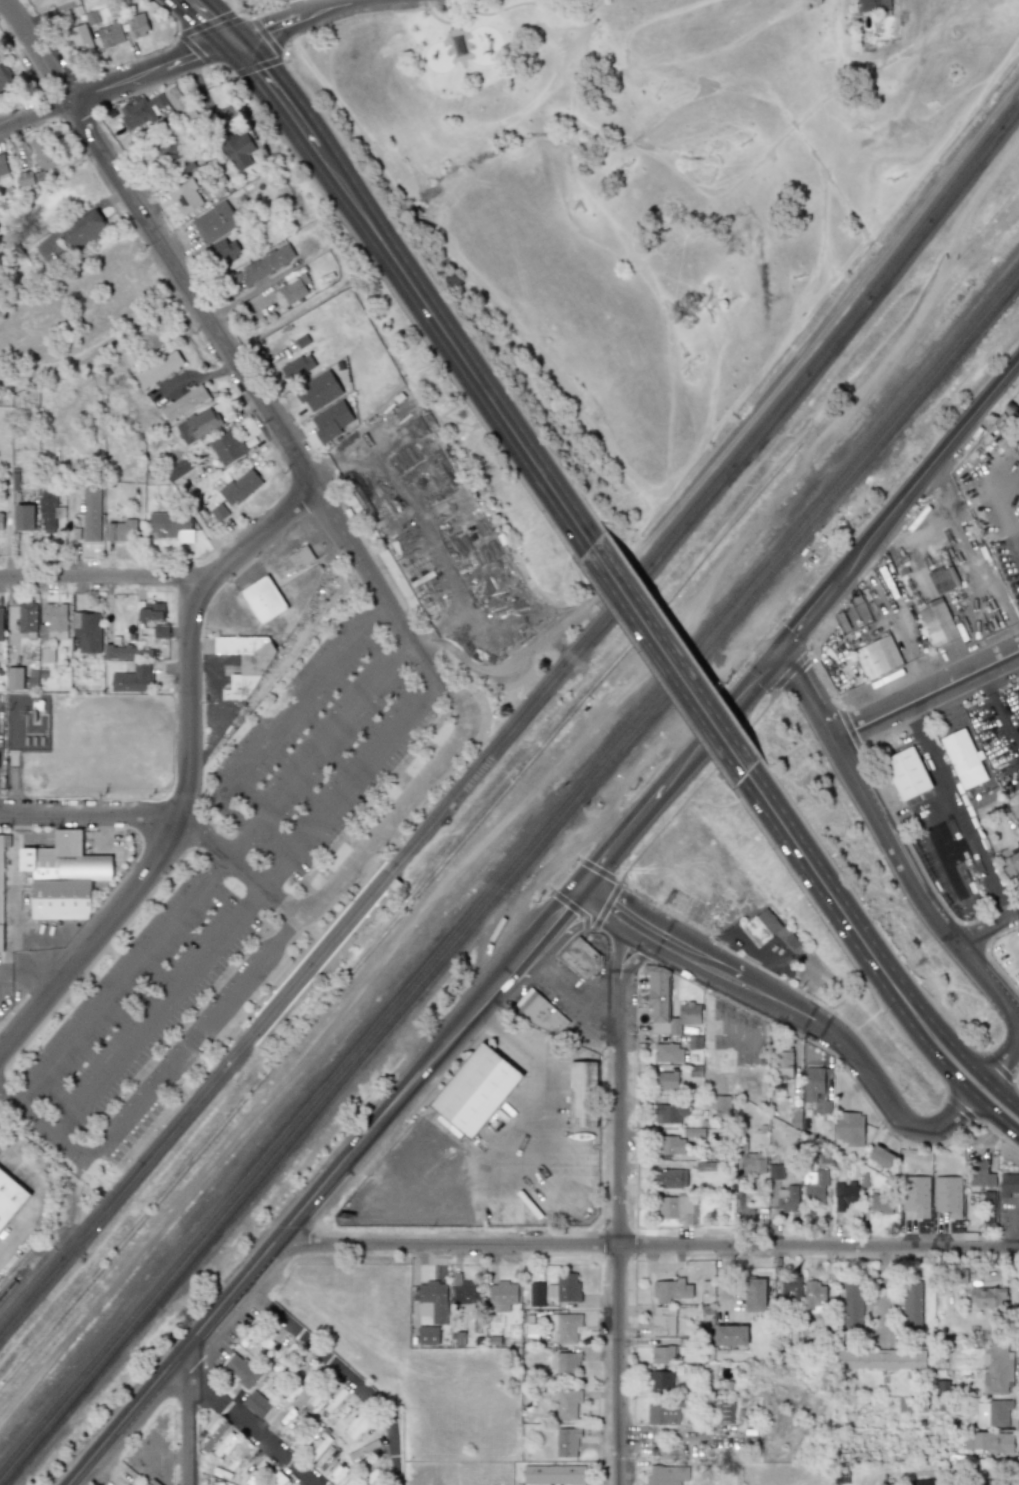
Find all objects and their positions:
building: (873, 4)
road: (294, 17)
road: (213, 19)
building: (138, 25)
building: (111, 34)
building: (81, 40)
road: (37, 50)
road: (152, 69)
building: (5, 78)
building: (156, 108)
road: (34, 112)
building: (172, 149)
building: (238, 150)
building: (44, 153)
building: (3, 165)
building: (25, 179)
building: (185, 197)
building: (214, 222)
building: (84, 230)
building: (224, 252)
building: (262, 267)
building: (294, 289)
road: (418, 289)
road: (191, 291)
building: (150, 339)
building: (297, 367)
building: (159, 369)
building: (318, 391)
building: (184, 403)
building: (331, 421)
building: (198, 425)
building: (227, 448)
building: (179, 469)
building: (240, 487)
road: (993, 499)
road: (898, 503)
building: (49, 511)
building: (219, 512)
building: (91, 514)
building: (23, 518)
building: (1, 521)
building: (171, 526)
road: (422, 526)
building: (121, 531)
road: (969, 555)
building: (297, 559)
road: (103, 578)
building: (944, 579)
building: (263, 599)
building: (151, 612)
building: (27, 619)
building: (53, 623)
building: (938, 623)
building: (1, 625)
road: (189, 630)
building: (87, 631)
building: (161, 632)
road: (903, 636)
building: (119, 652)
building: (46, 655)
road: (670, 657)
building: (877, 657)
building: (242, 661)
road: (510, 662)
building: (14, 678)
building: (134, 679)
road: (807, 693)
road: (926, 694)
road: (999, 708)
road: (462, 709)
railway: (515, 712)
road: (279, 715)
road: (717, 722)
railway: (514, 727)
building: (964, 759)
building: (907, 773)
road: (346, 781)
road: (953, 800)
road: (91, 815)
road: (949, 818)
road: (617, 842)
road: (940, 856)
building: (1011, 865)
railway: (509, 868)
road: (243, 870)
road: (814, 870)
parking lot: (243, 871)
road: (209, 875)
building: (63, 877)
building: (2, 881)
railway: (509, 881)
road: (915, 888)
road: (601, 904)
road: (628, 923)
road: (571, 926)
building: (762, 926)
road: (987, 927)
road: (18, 931)
road: (64, 932)
road: (642, 932)
road: (92, 939)
road: (46, 943)
railway: (314, 943)
road: (617, 953)
building: (582, 958)
railway: (322, 960)
road: (694, 960)
road: (633, 961)
road: (25, 967)
road: (516, 980)
road: (897, 984)
road: (889, 988)
road: (574, 999)
building: (667, 1004)
road: (784, 1005)
road: (154, 1011)
building: (543, 1014)
road: (191, 1044)
road: (316, 1047)
building: (668, 1052)
road: (961, 1056)
building: (719, 1061)
road: (1003, 1063)
building: (783, 1064)
road: (951, 1074)
building: (667, 1080)
building: (814, 1082)
building: (474, 1092)
building: (583, 1094)
building: (723, 1106)
road: (895, 1109)
building: (671, 1113)
building: (850, 1128)
road: (42, 1131)
building: (673, 1145)
road: (554, 1146)
building: (881, 1155)
building: (755, 1163)
building: (774, 1171)
building: (980, 1174)
building: (671, 1179)
road: (321, 1184)
building: (1009, 1184)
building: (816, 1187)
building: (846, 1196)
building: (11, 1198)
building: (788, 1198)
road: (35, 1202)
building: (882, 1204)
building: (677, 1208)
building: (989, 1211)
road: (615, 1235)
road: (649, 1242)
railway: (8, 1285)
building: (791, 1286)
building: (564, 1288)
building: (672, 1290)
building: (465, 1291)
building: (503, 1292)
building: (536, 1294)
building: (756, 1294)
building: (987, 1297)
building: (434, 1298)
building: (815, 1298)
building: (853, 1304)
building: (912, 1304)
building: (664, 1320)
building: (566, 1326)
building: (428, 1335)
building: (731, 1336)
building: (661, 1354)
building: (885, 1359)
building: (568, 1366)
building: (997, 1368)
building: (241, 1370)
building: (662, 1379)
road: (357, 1381)
building: (257, 1403)
building: (567, 1404)
building: (904, 1405)
building: (663, 1412)
building: (725, 1412)
building: (994, 1413)
road: (189, 1418)
building: (357, 1425)
road: (258, 1429)
building: (294, 1429)
building: (308, 1435)
building: (214, 1436)
building: (568, 1442)
building: (991, 1443)
building: (226, 1445)
building: (319, 1446)
building: (685, 1450)
building: (922, 1453)
building: (235, 1457)
building: (325, 1457)
road: (103, 1471)
building: (257, 1474)
building: (554, 1474)
building: (664, 1475)
building: (277, 1479)
building: (923, 1482)
building: (996, 1482)
building: (217, 1483)

